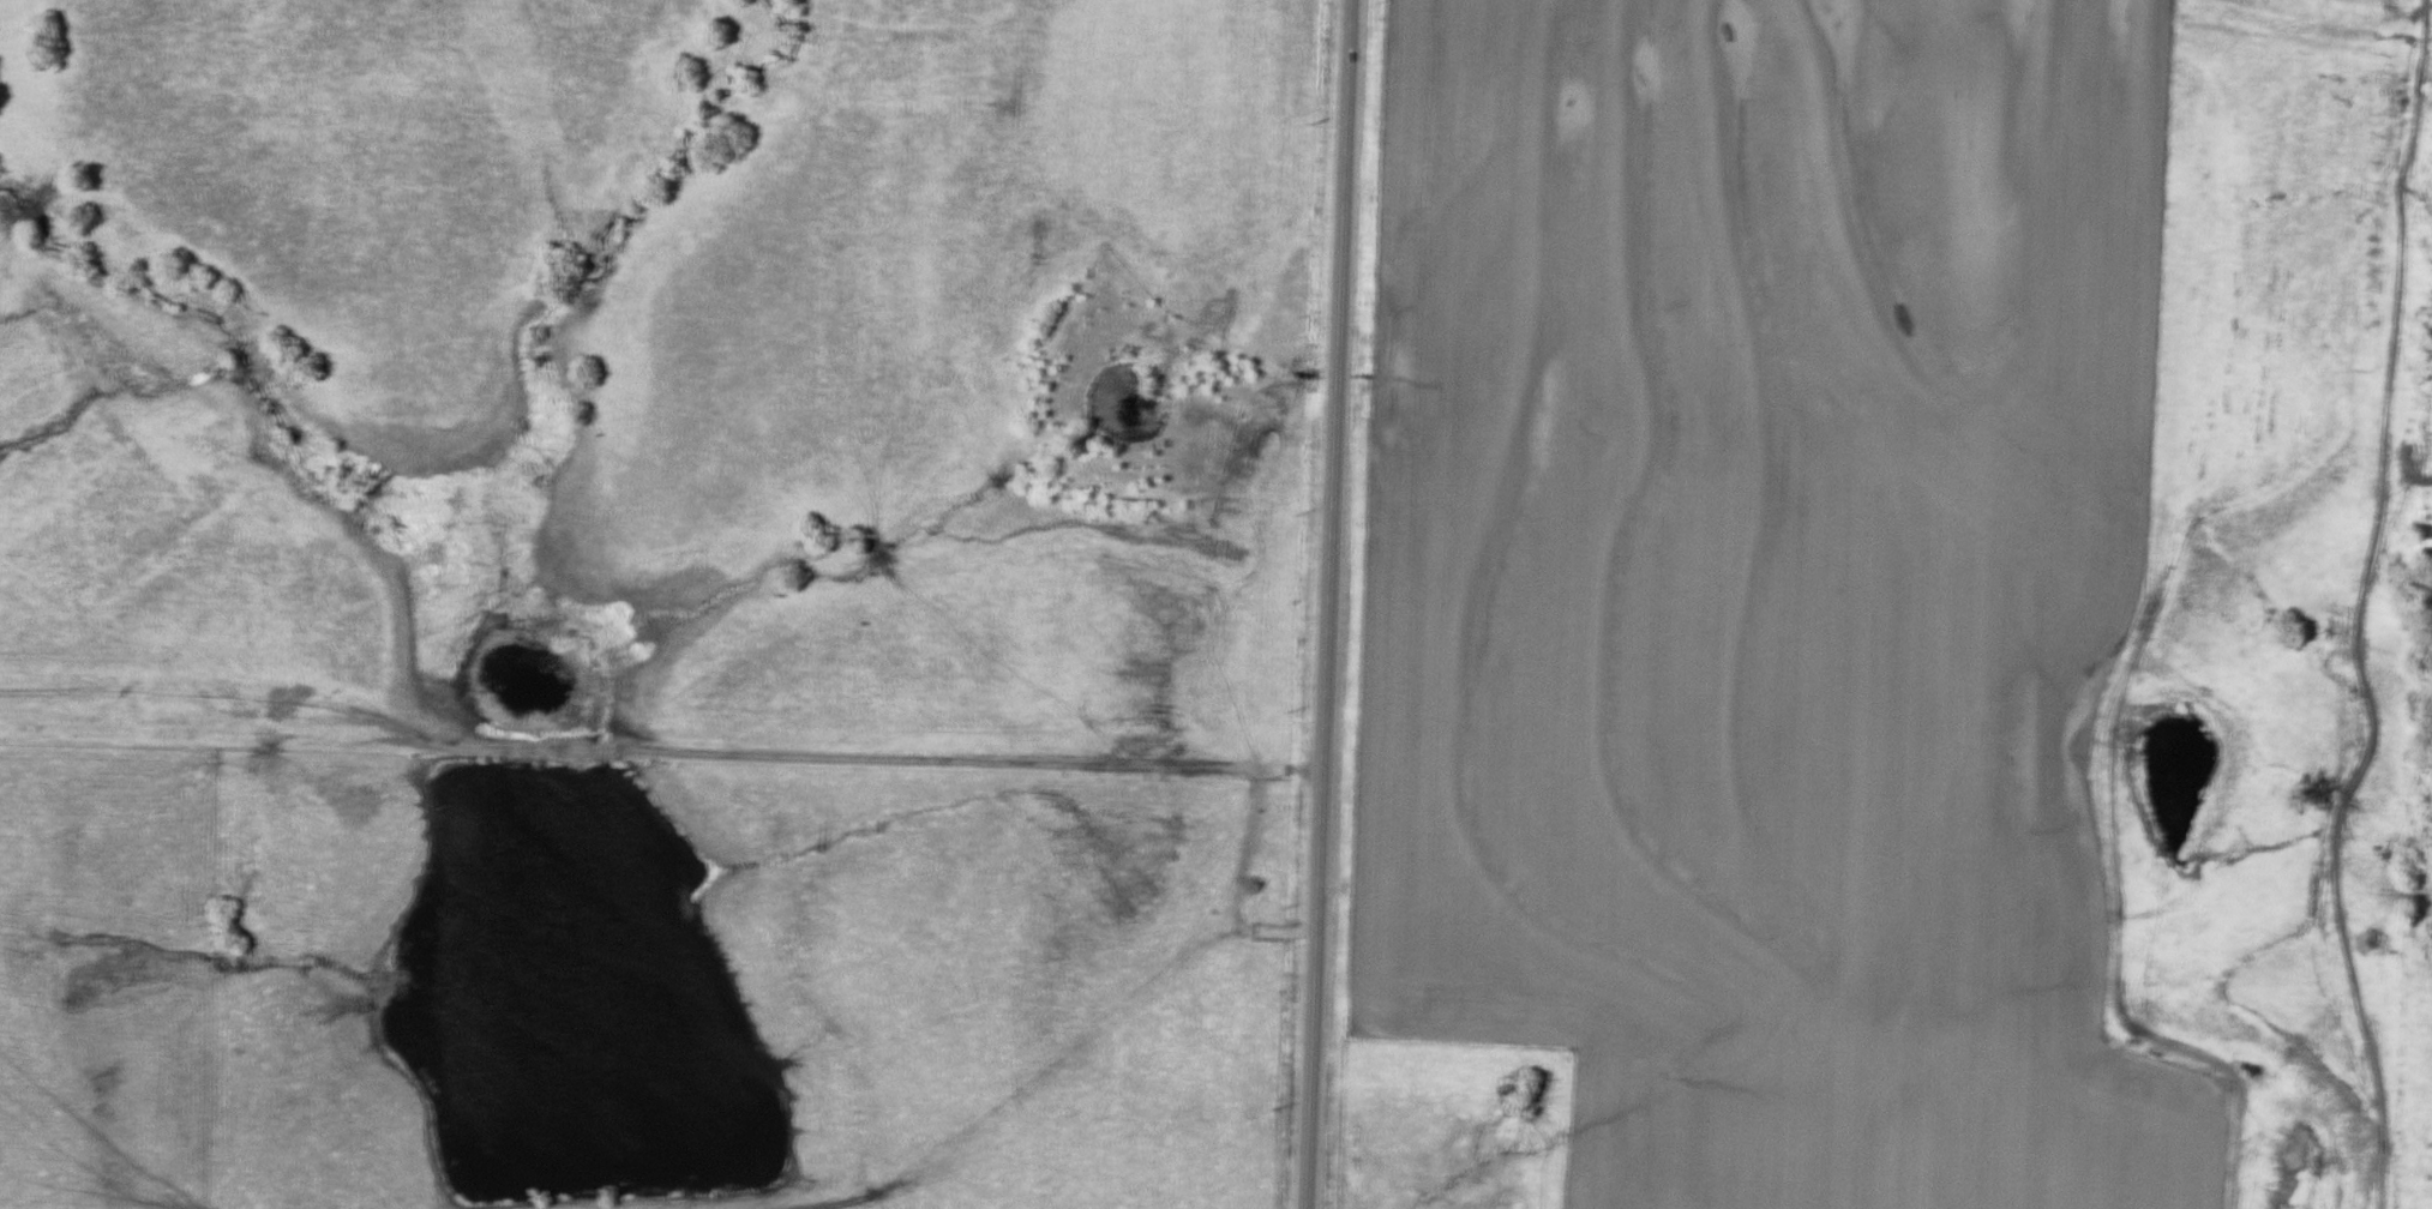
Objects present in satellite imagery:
crop: (1765, 588)
road: (1326, 604)
road: (660, 752)

